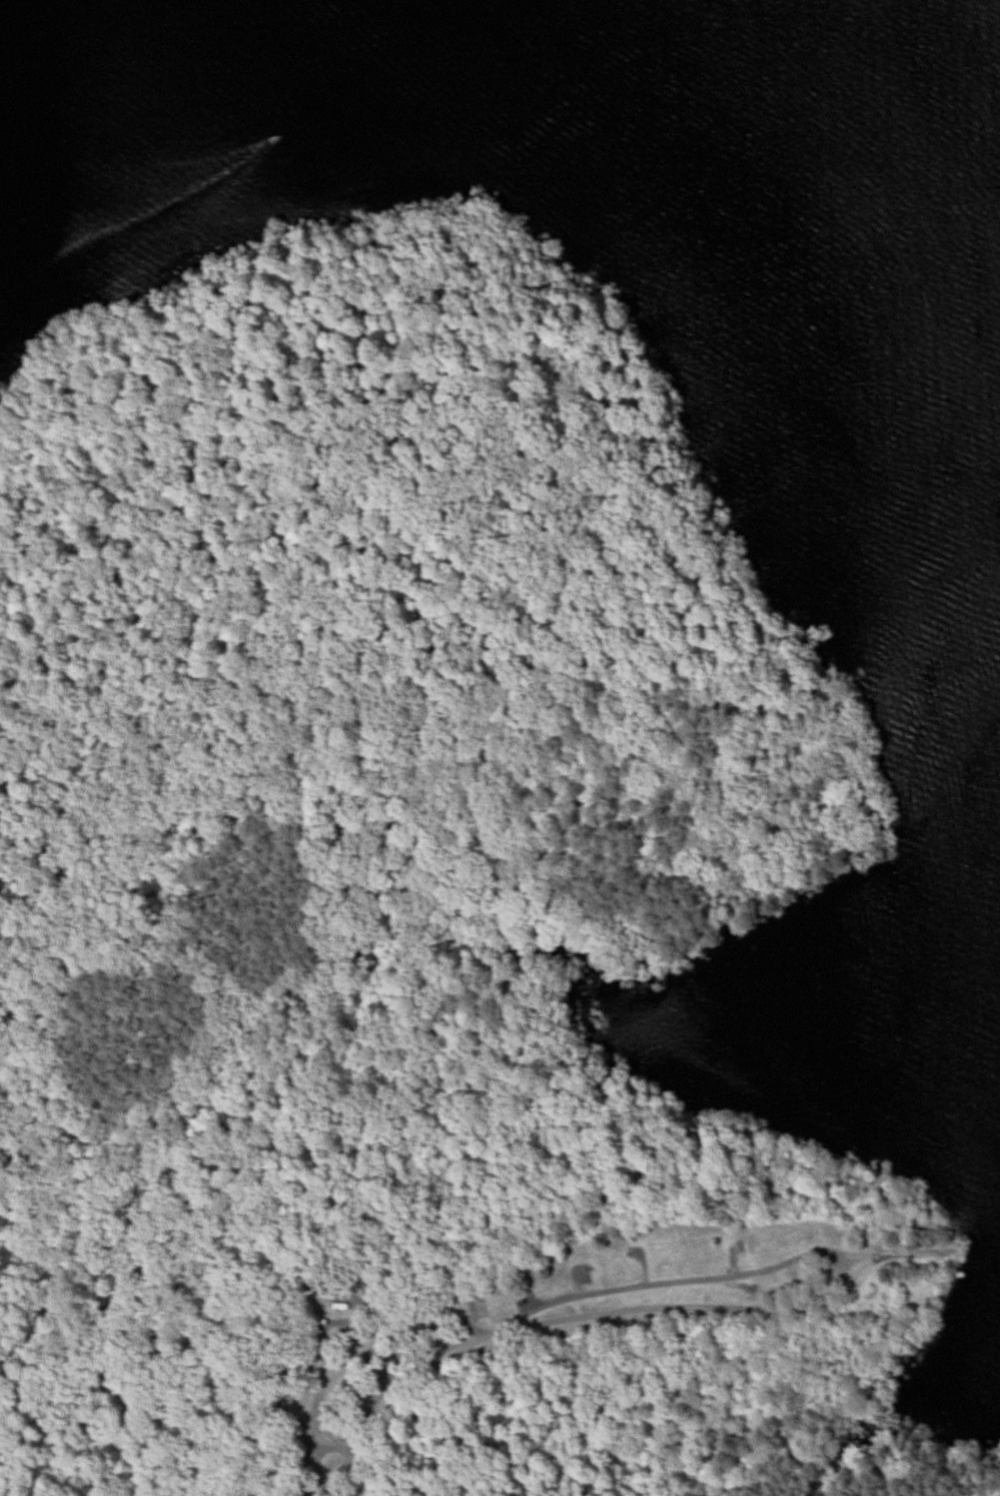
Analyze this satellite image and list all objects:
road: (918, 1252)
road: (686, 1283)
road: (696, 1309)
road: (325, 1330)
road: (401, 1384)
road: (335, 1446)

